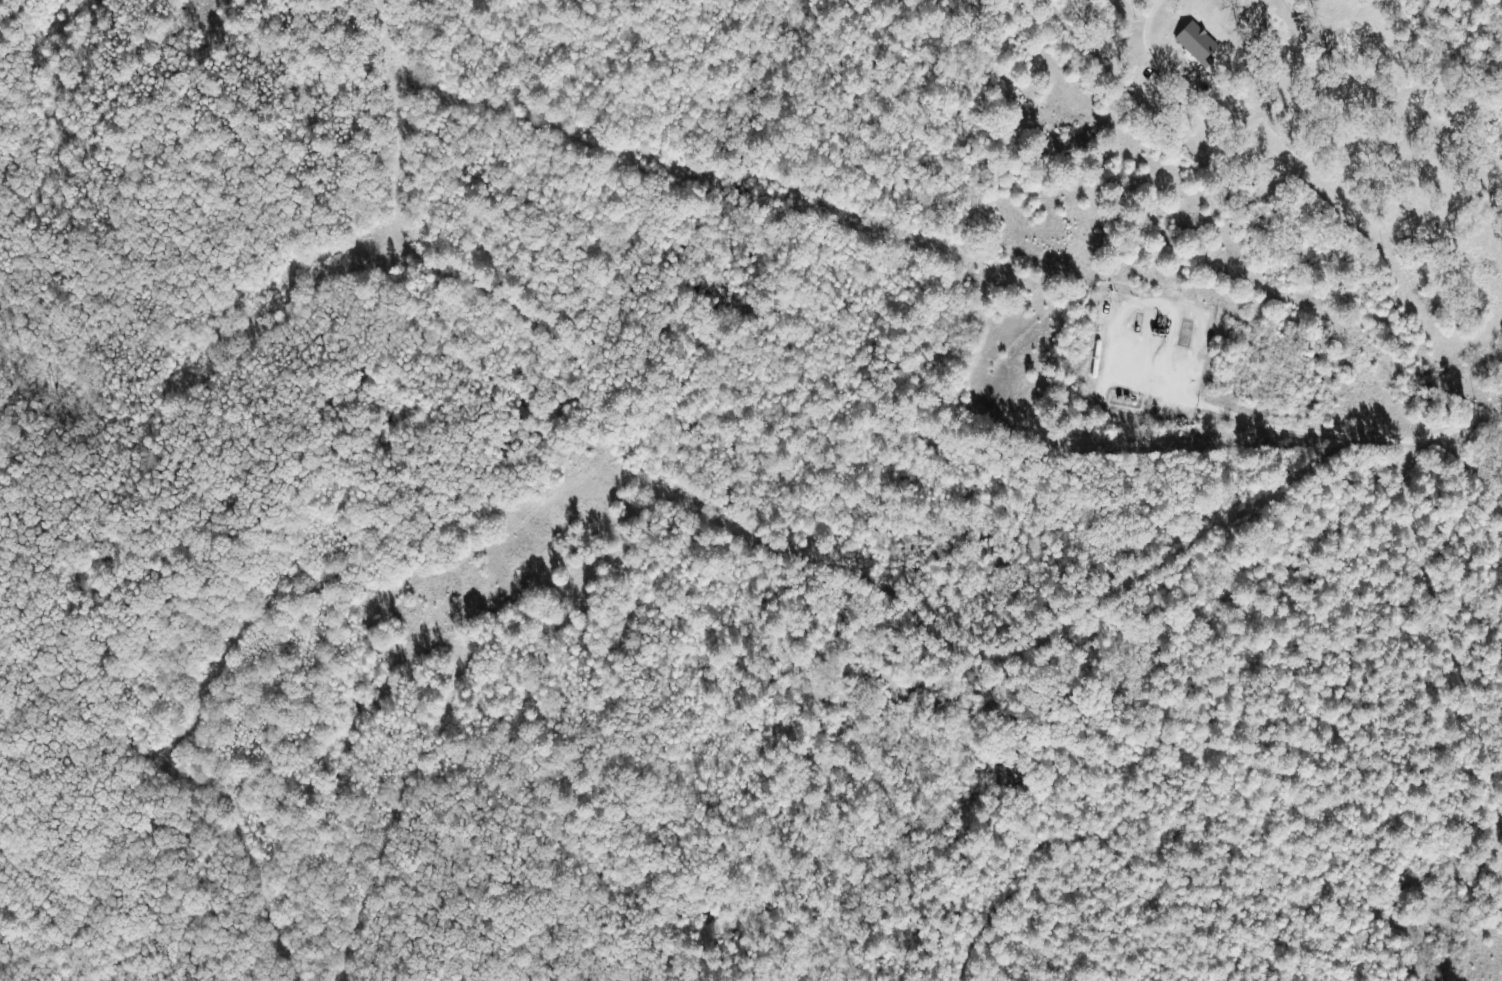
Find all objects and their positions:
road: (1311, 433)

